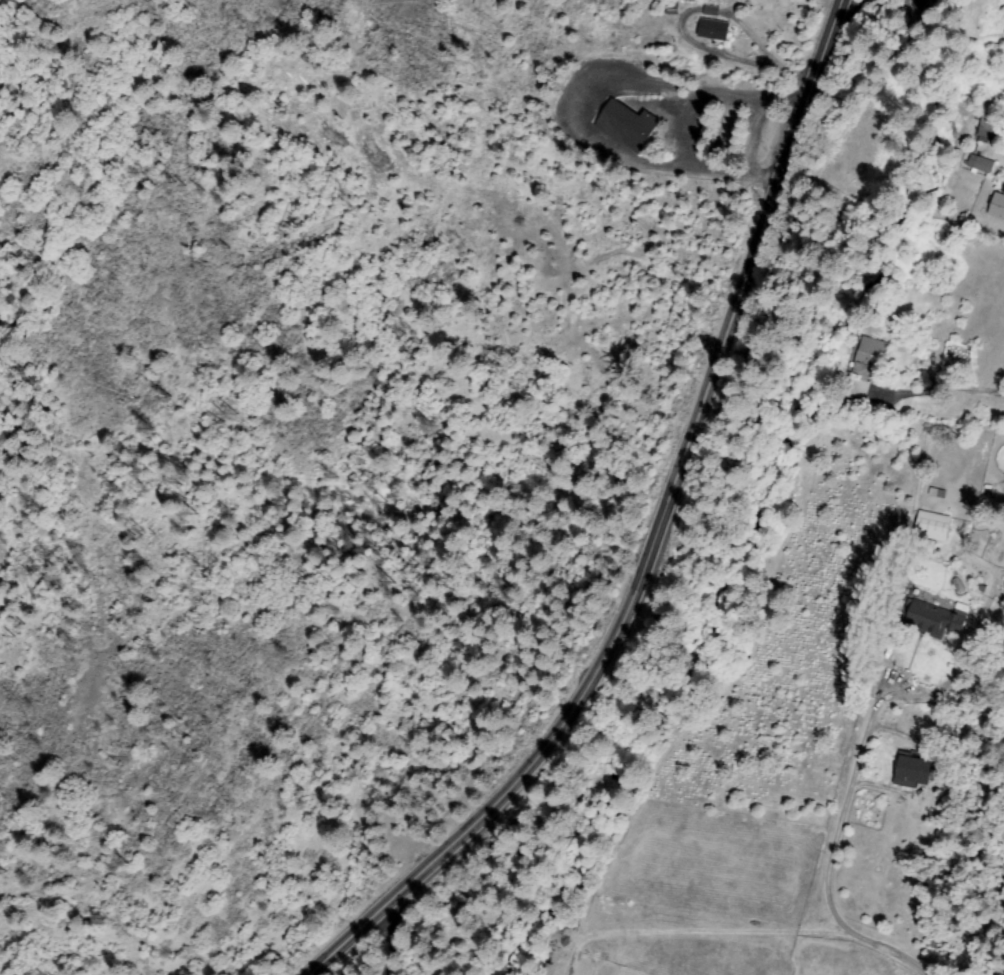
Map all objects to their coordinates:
building: (926, 4)
road: (929, 6)
building: (671, 9)
building: (711, 11)
building: (716, 32)
building: (627, 127)
building: (990, 130)
building: (981, 164)
building: (998, 206)
building: (864, 367)
road: (929, 384)
building: (932, 527)
road: (659, 535)
building: (929, 620)
building: (915, 771)
road: (165, 826)
road: (387, 958)

